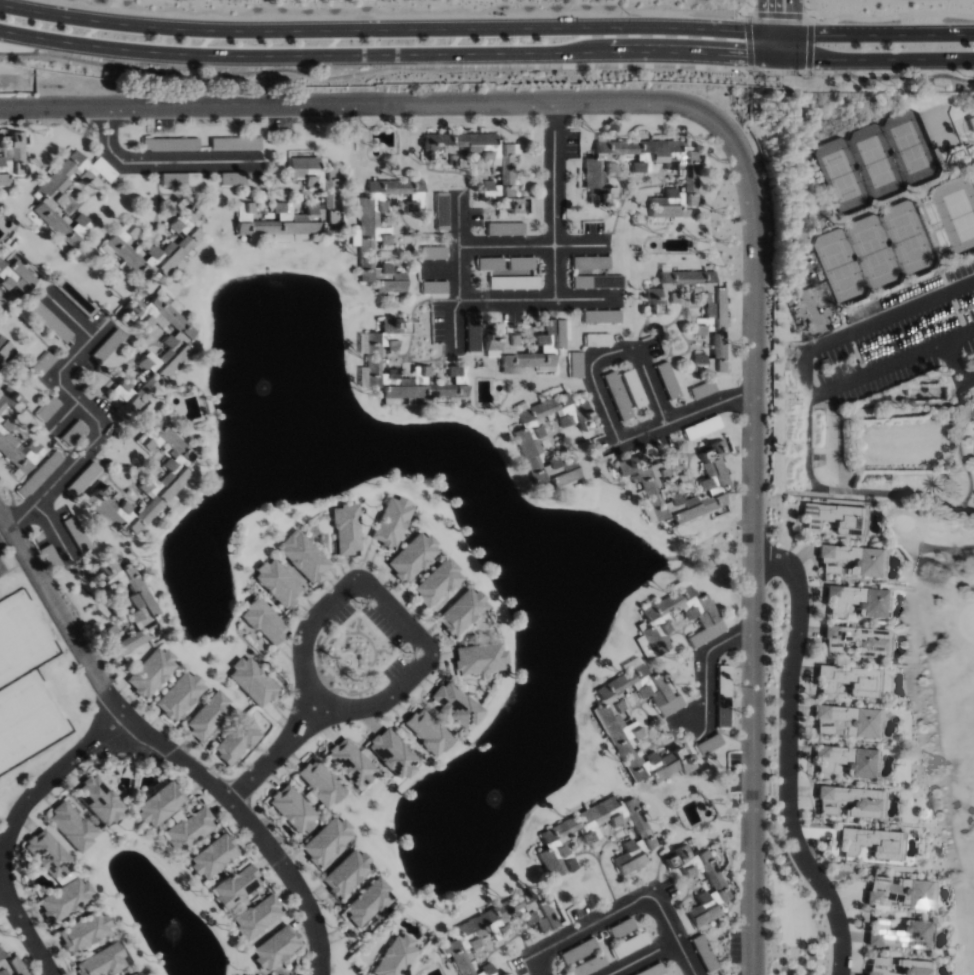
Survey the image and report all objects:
road: (780, 13)
road: (767, 28)
road: (793, 28)
road: (372, 29)
road: (780, 33)
road: (893, 34)
road: (748, 41)
road: (813, 43)
road: (374, 54)
road: (782, 57)
road: (894, 58)
road: (782, 71)
road: (333, 107)
building: (971, 122)
building: (170, 144)
building: (239, 146)
building: (11, 156)
park: (875, 161)
building: (505, 163)
road: (161, 165)
building: (643, 172)
building: (186, 178)
building: (231, 179)
building: (328, 194)
building: (61, 201)
building: (509, 206)
park: (956, 213)
road: (554, 223)
building: (367, 226)
building: (505, 228)
building: (188, 237)
building: (433, 252)
park: (875, 253)
building: (591, 262)
building: (490, 263)
building: (521, 263)
building: (15, 276)
building: (598, 281)
building: (433, 287)
road: (509, 301)
building: (46, 316)
building: (718, 324)
building: (698, 328)
road: (834, 339)
building: (498, 347)
building: (5, 349)
road: (630, 349)
building: (177, 351)
building: (575, 364)
road: (890, 365)
road: (956, 368)
building: (457, 374)
building: (614, 387)
fountain: (261, 388)
building: (6, 397)
road: (87, 408)
building: (528, 445)
building: (18, 448)
building: (12, 469)
building: (39, 474)
building: (645, 481)
building: (146, 482)
road: (888, 492)
road: (752, 517)
building: (834, 518)
building: (391, 522)
road: (3, 527)
building: (346, 529)
road: (51, 530)
building: (303, 556)
building: (412, 556)
building: (856, 559)
building: (277, 583)
building: (437, 583)
building: (857, 600)
building: (142, 603)
building: (461, 612)
building: (264, 621)
park: (22, 639)
building: (858, 641)
road: (425, 659)
building: (479, 659)
building: (151, 672)
road: (704, 672)
building: (850, 680)
building: (253, 681)
building: (724, 688)
building: (179, 696)
park: (942, 700)
building: (454, 706)
building: (208, 716)
park: (29, 720)
building: (612, 720)
building: (848, 722)
building: (427, 732)
building: (236, 741)
road: (163, 746)
building: (393, 755)
road: (788, 757)
building: (847, 761)
building: (349, 763)
building: (319, 783)
road: (42, 787)
fountain: (485, 792)
building: (99, 802)
building: (159, 802)
building: (851, 802)
building: (292, 809)
building: (71, 826)
building: (187, 829)
building: (597, 837)
building: (326, 841)
building: (872, 843)
building: (47, 853)
building: (212, 856)
building: (346, 873)
building: (701, 883)
building: (235, 887)
road: (639, 899)
building: (64, 900)
building: (367, 902)
building: (880, 913)
building: (257, 917)
fountain: (170, 928)
road: (23, 929)
building: (83, 932)
building: (468, 937)
building: (275, 948)
building: (395, 956)
road: (685, 959)
building: (100, 962)
building: (10, 966)
building: (588, 966)
building: (898, 967)
building: (486, 970)
building: (136, 974)
building: (506, 974)

